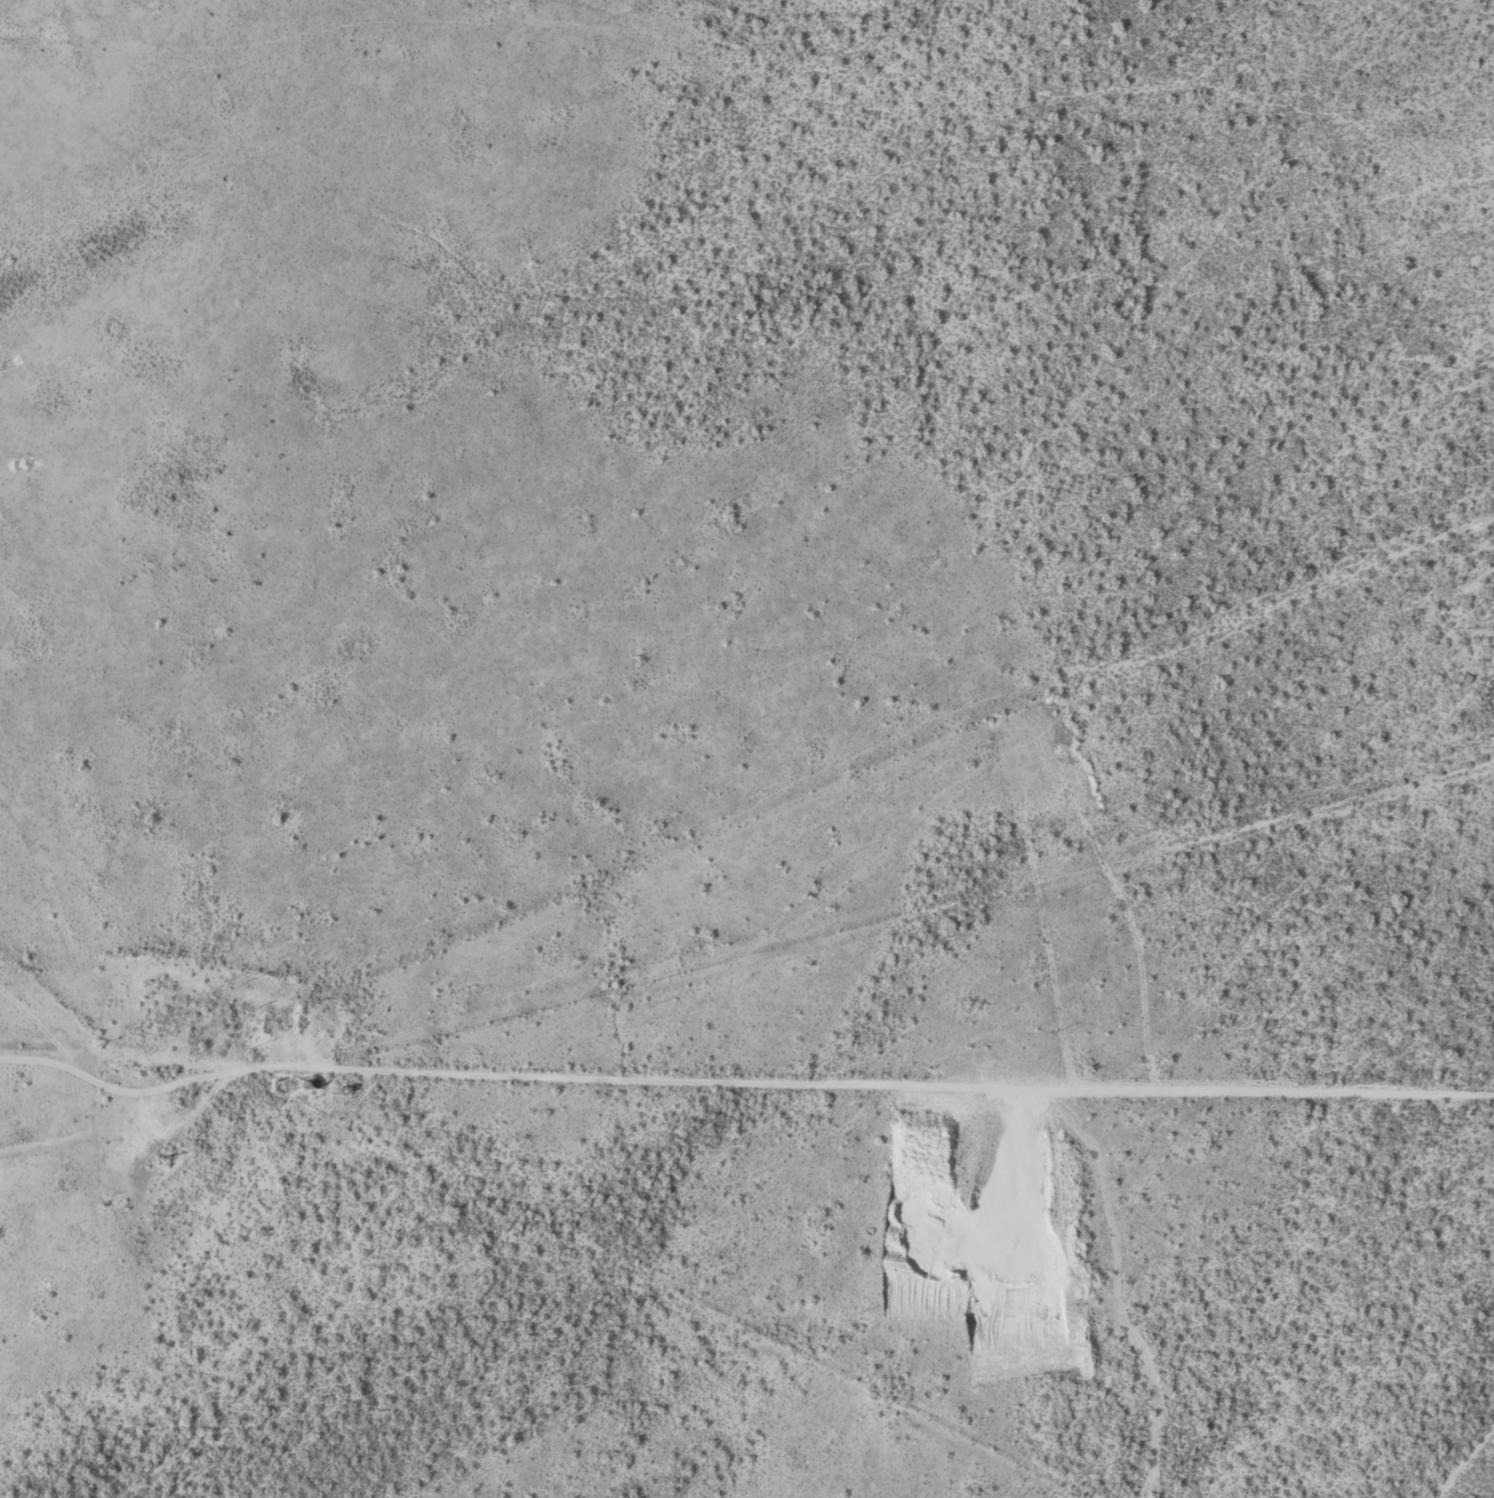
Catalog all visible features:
road: (110, 946)
road: (737, 1080)

